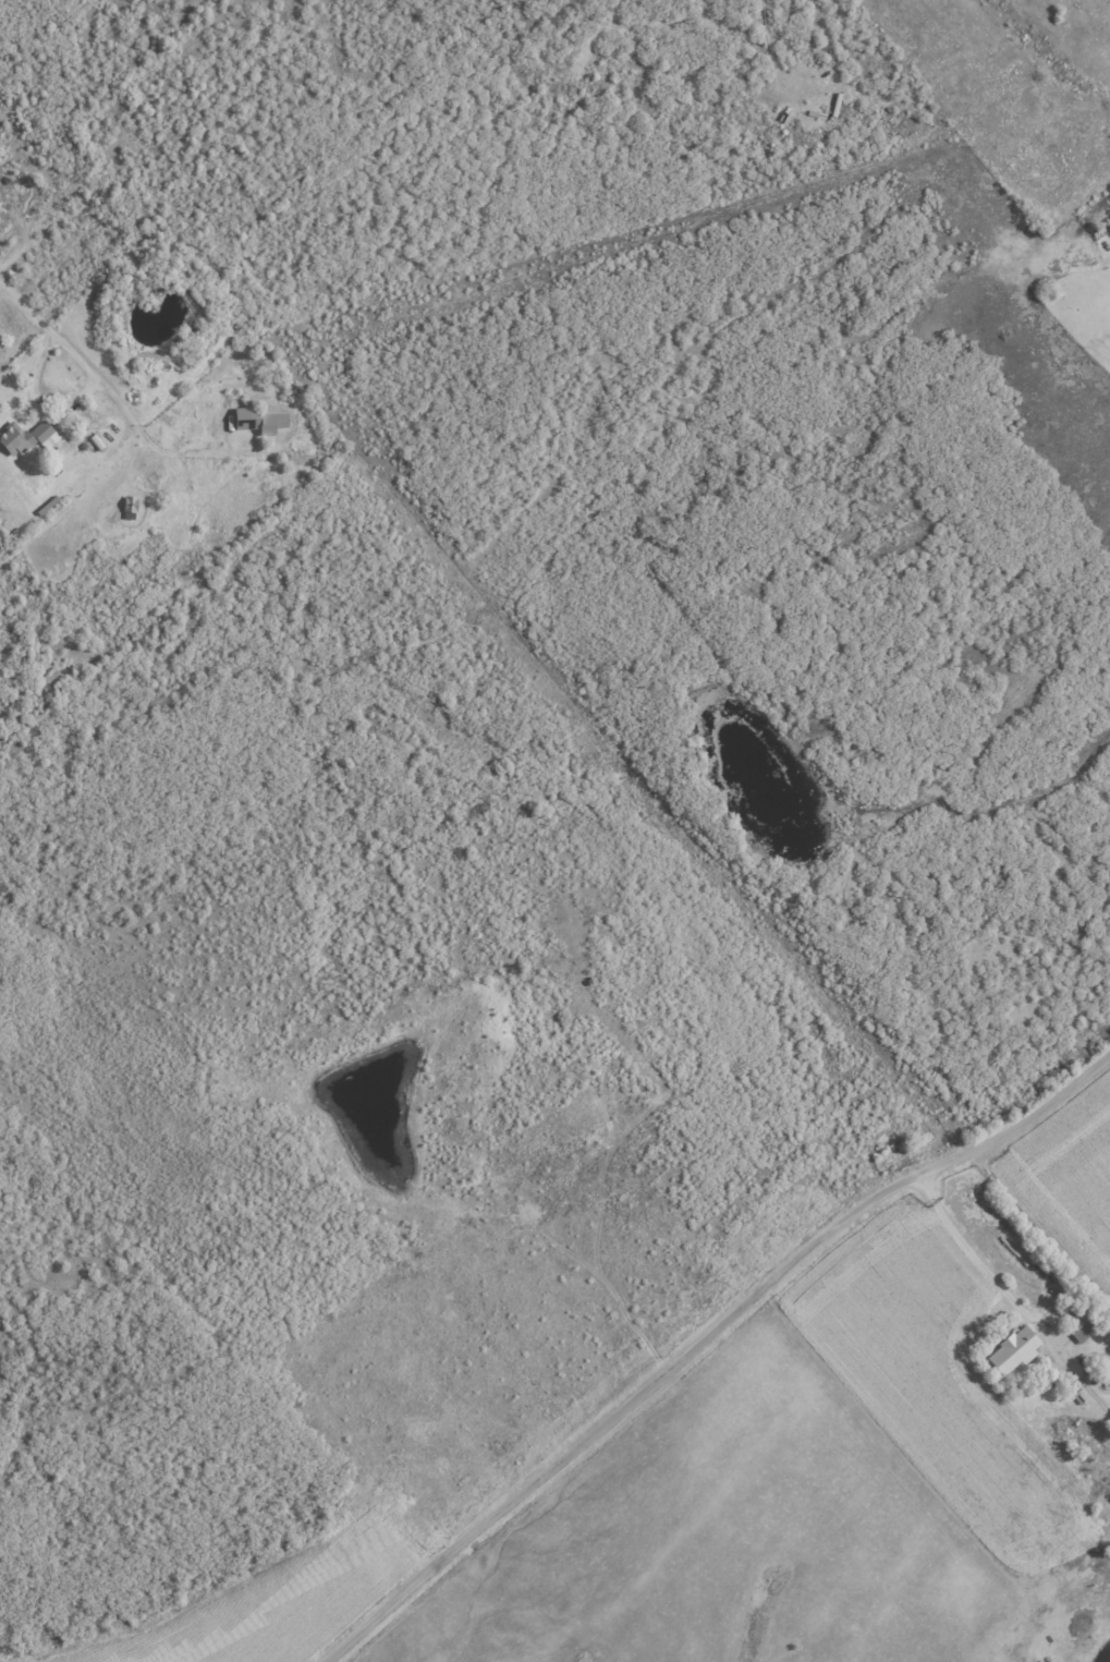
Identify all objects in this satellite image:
road: (77, 362)
road: (35, 407)
building: (258, 421)
building: (26, 438)
road: (202, 456)
road: (1010, 1294)
building: (1082, 1325)
road: (705, 1338)
building: (1013, 1350)

